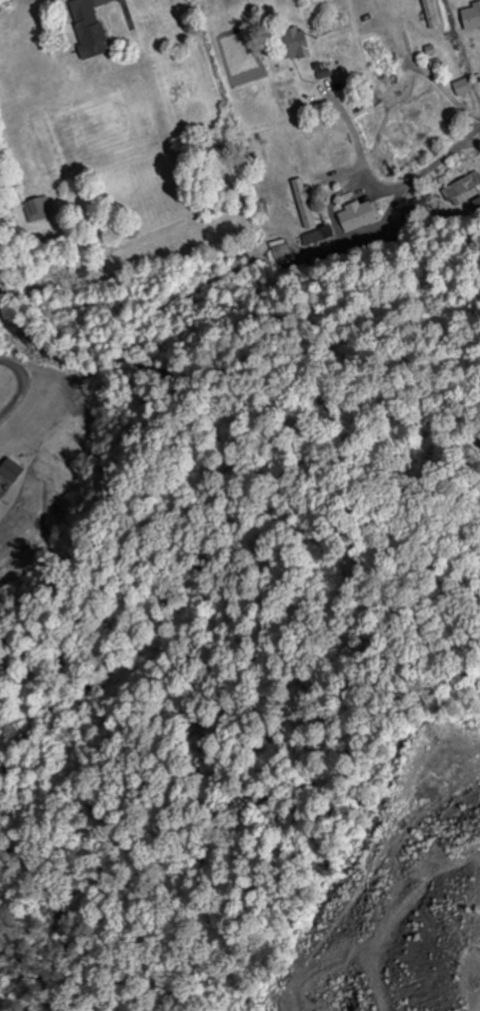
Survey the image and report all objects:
building: (431, 14)
building: (472, 17)
building: (89, 28)
building: (297, 42)
building: (463, 88)
building: (465, 185)
building: (305, 204)
building: (38, 209)
building: (359, 213)
building: (13, 469)

